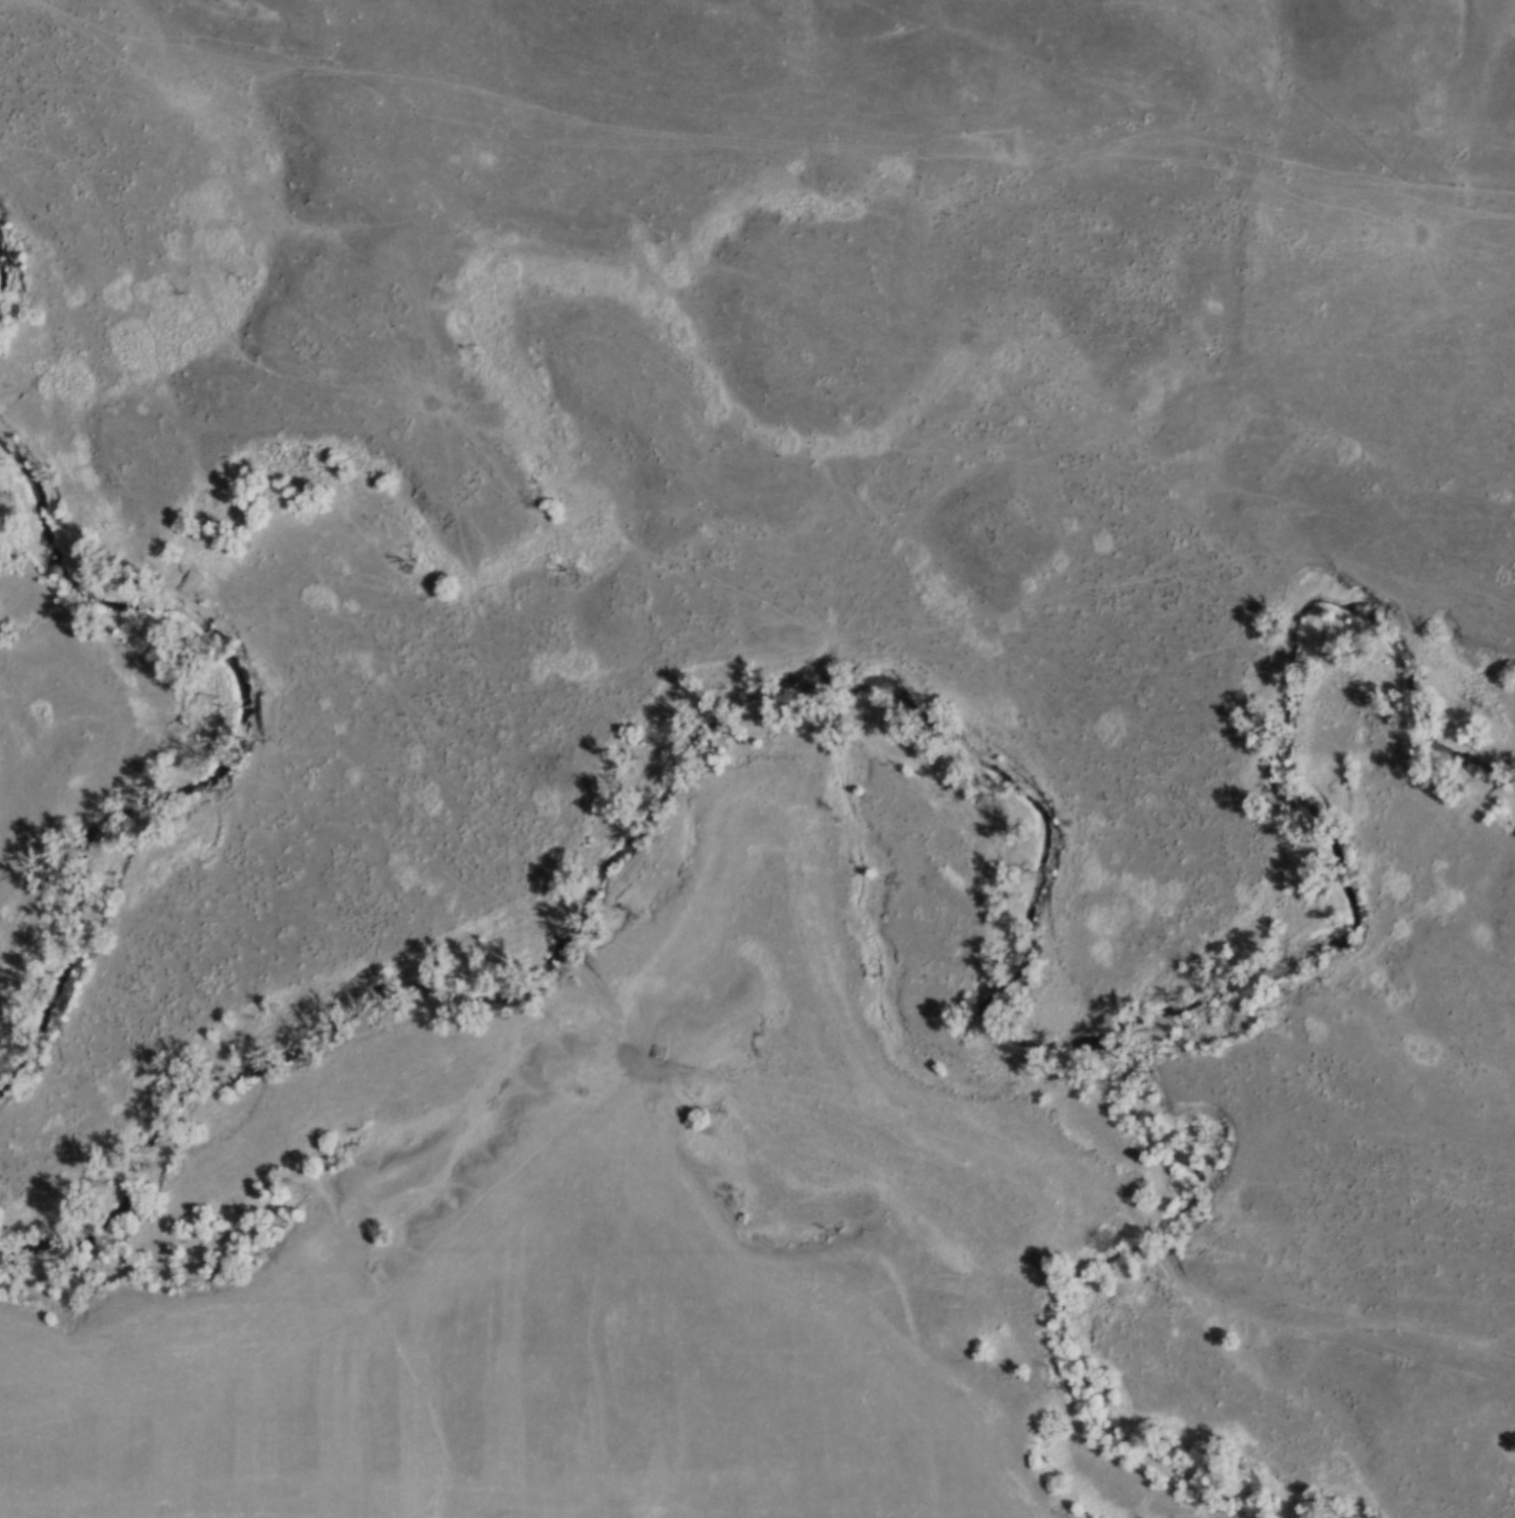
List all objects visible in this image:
road: (785, 826)

